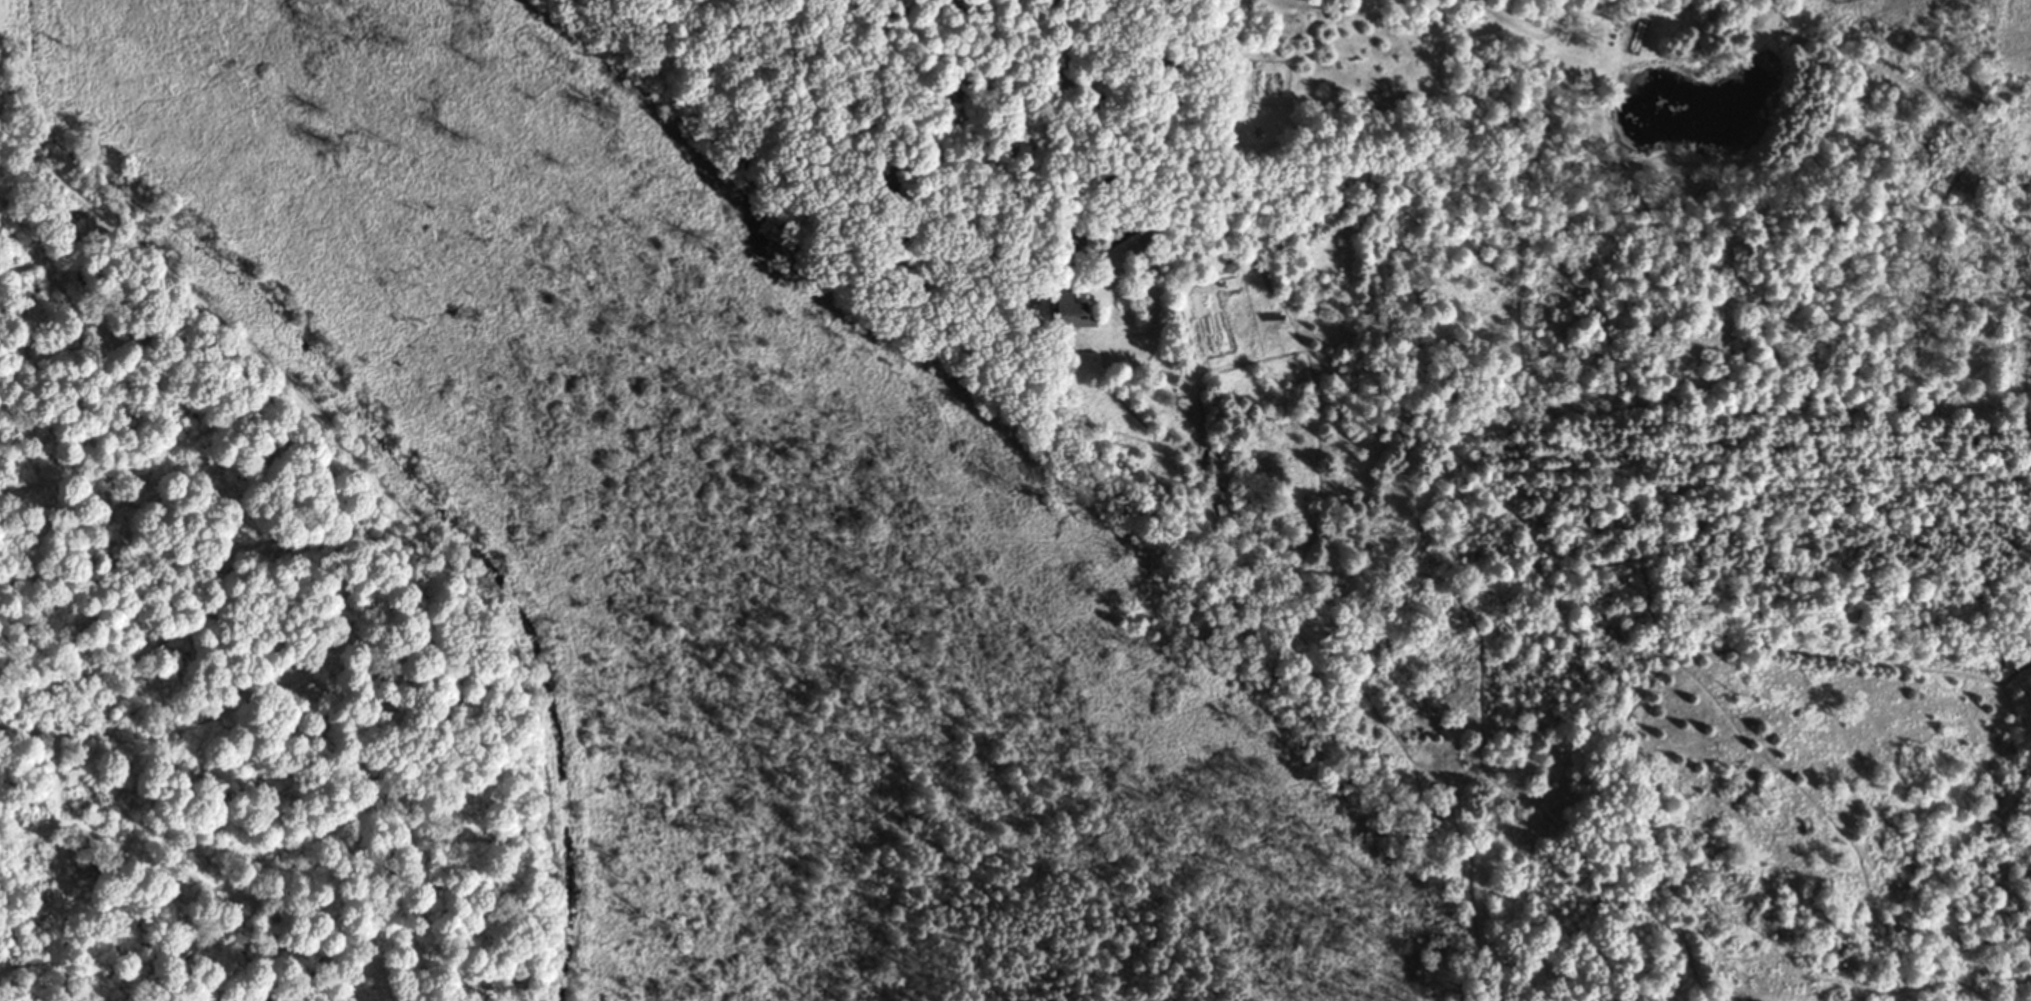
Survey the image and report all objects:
road: (1179, 157)
building: (1061, 310)

